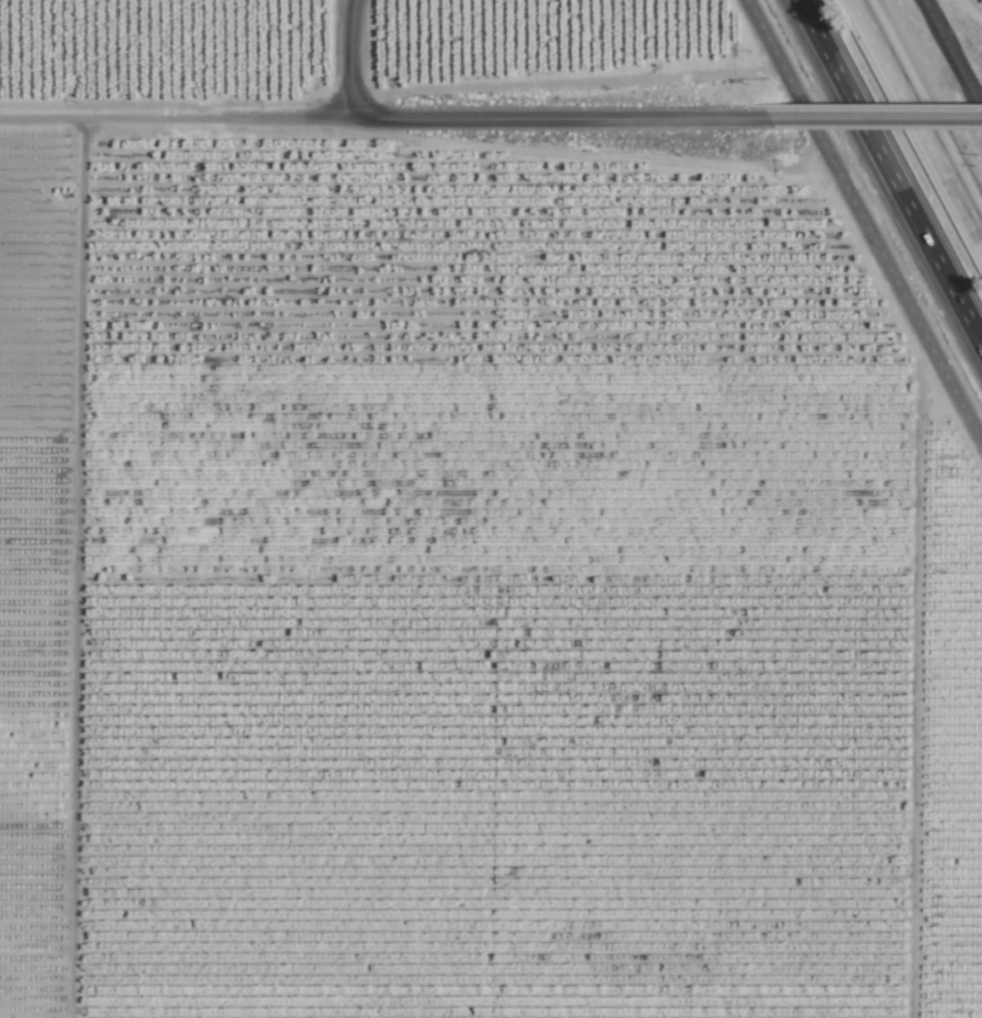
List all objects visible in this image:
road: (757, 27)
road: (348, 57)
railway: (951, 57)
road: (174, 117)
road: (555, 117)
road: (872, 117)
road: (917, 121)
road: (888, 175)
road: (877, 250)
crop: (472, 525)

